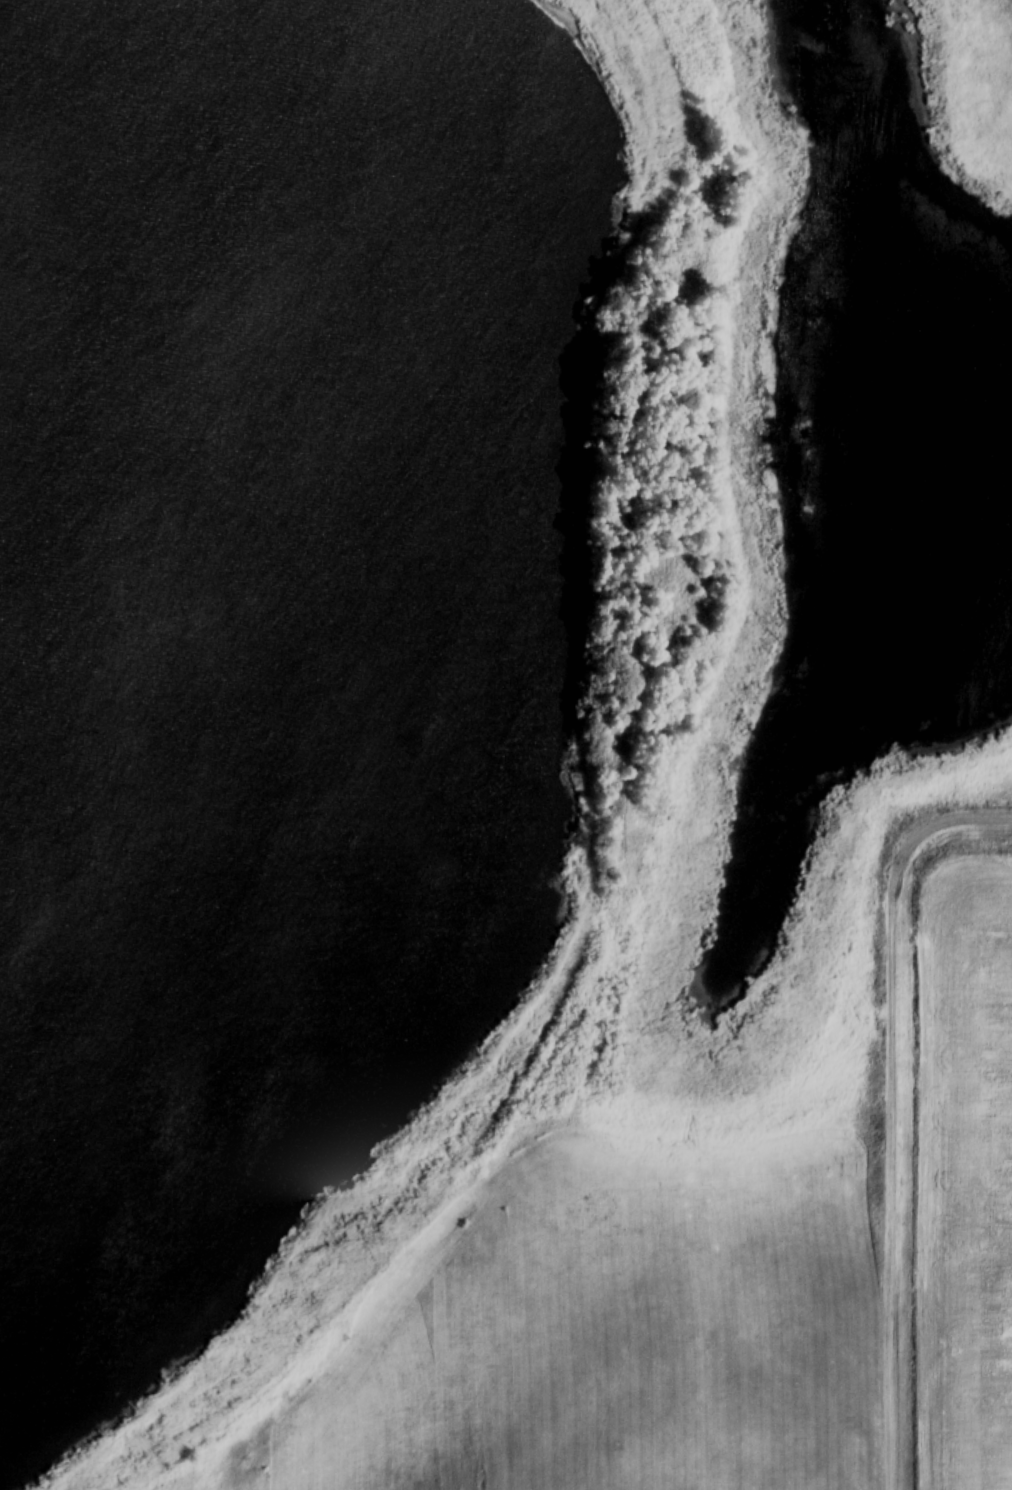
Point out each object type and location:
road: (981, 812)
power tower: (642, 838)
road: (891, 1139)
power tower: (436, 1175)
power tower: (266, 1466)

